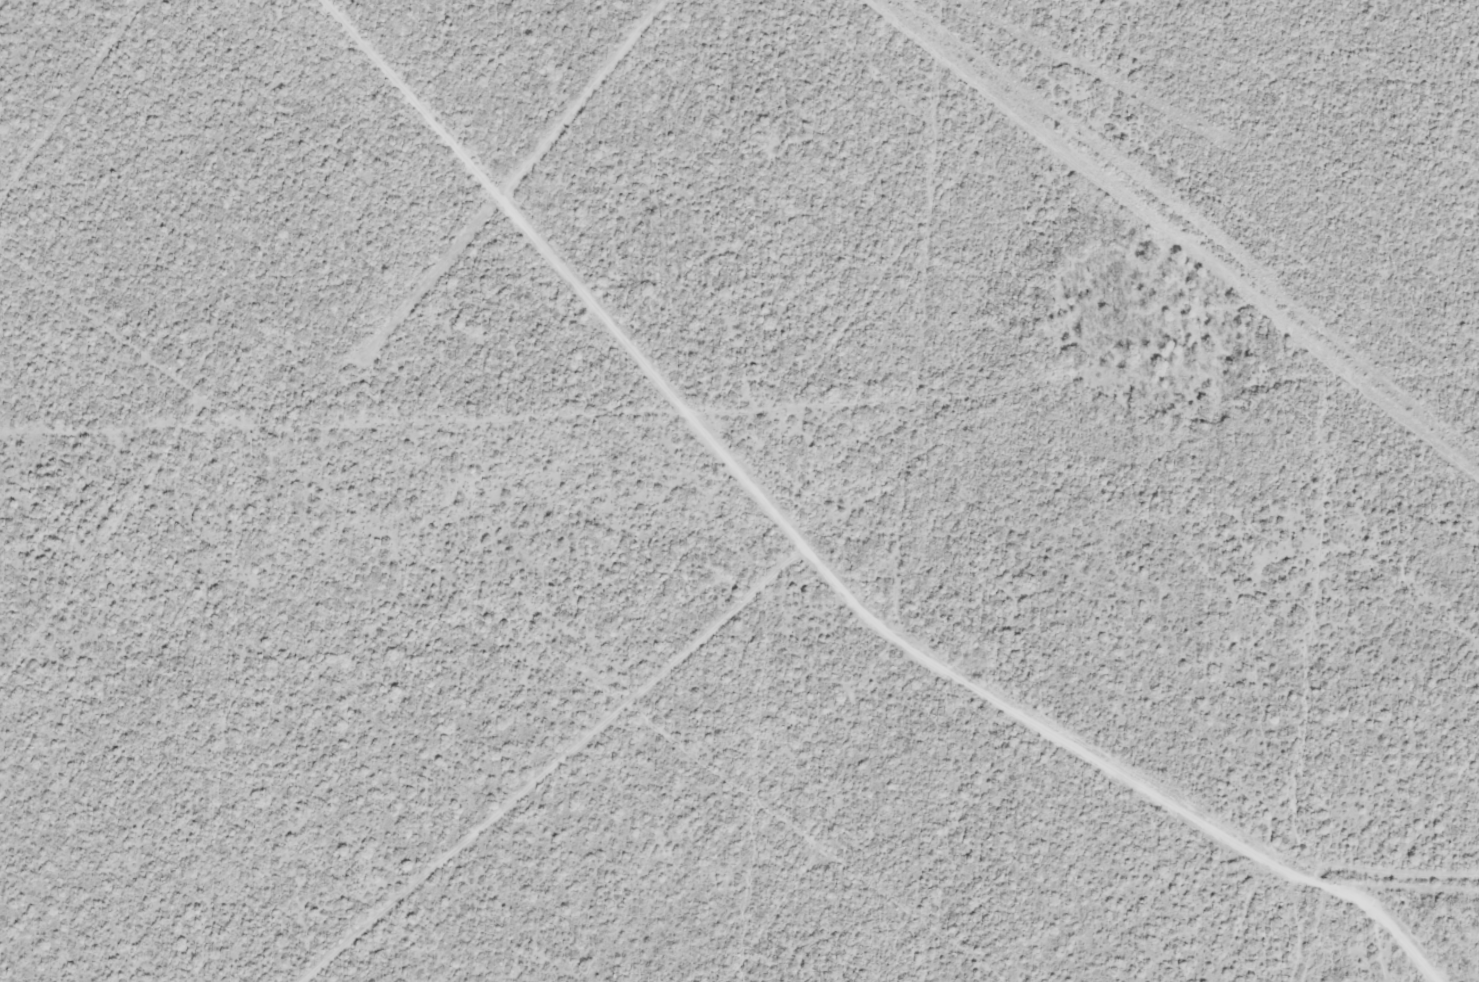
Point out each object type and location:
road: (967, 622)

